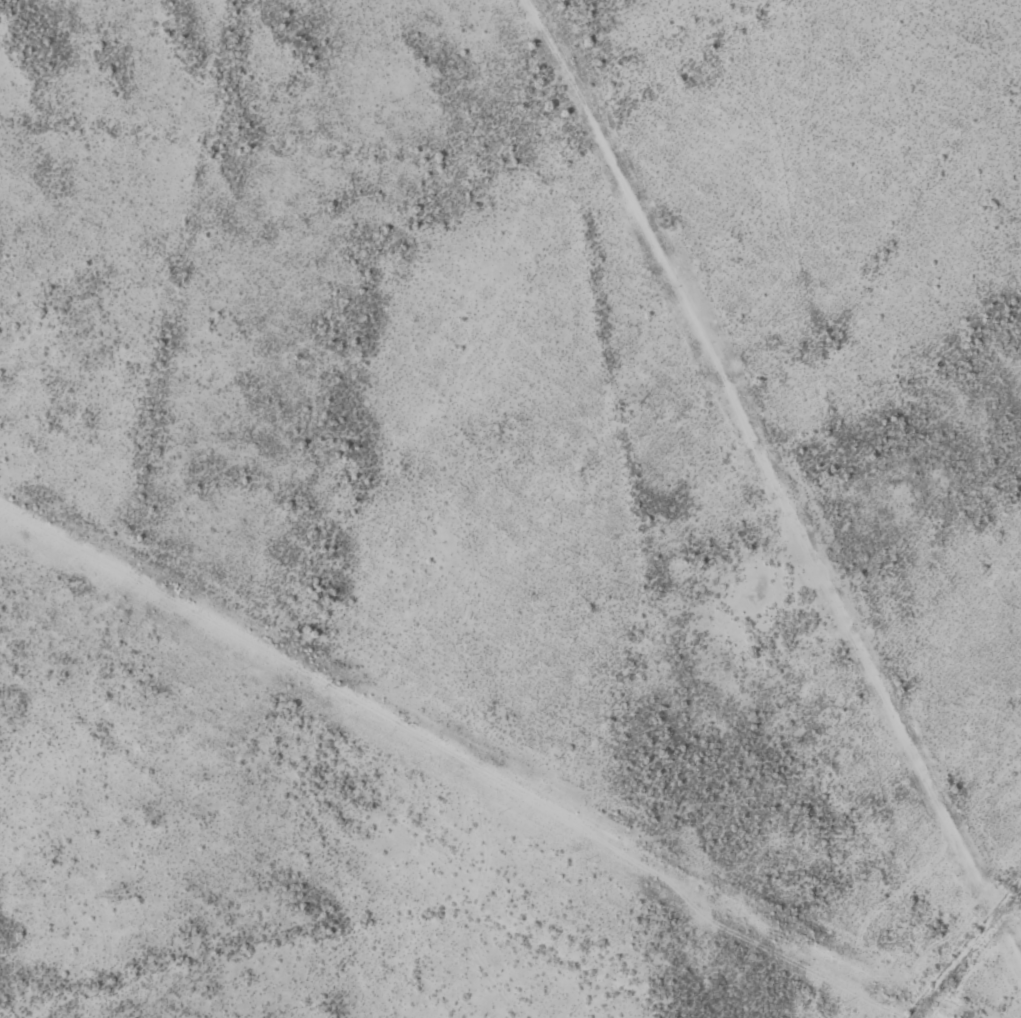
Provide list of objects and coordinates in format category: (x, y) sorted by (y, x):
road: (967, 952)
road: (924, 1015)

